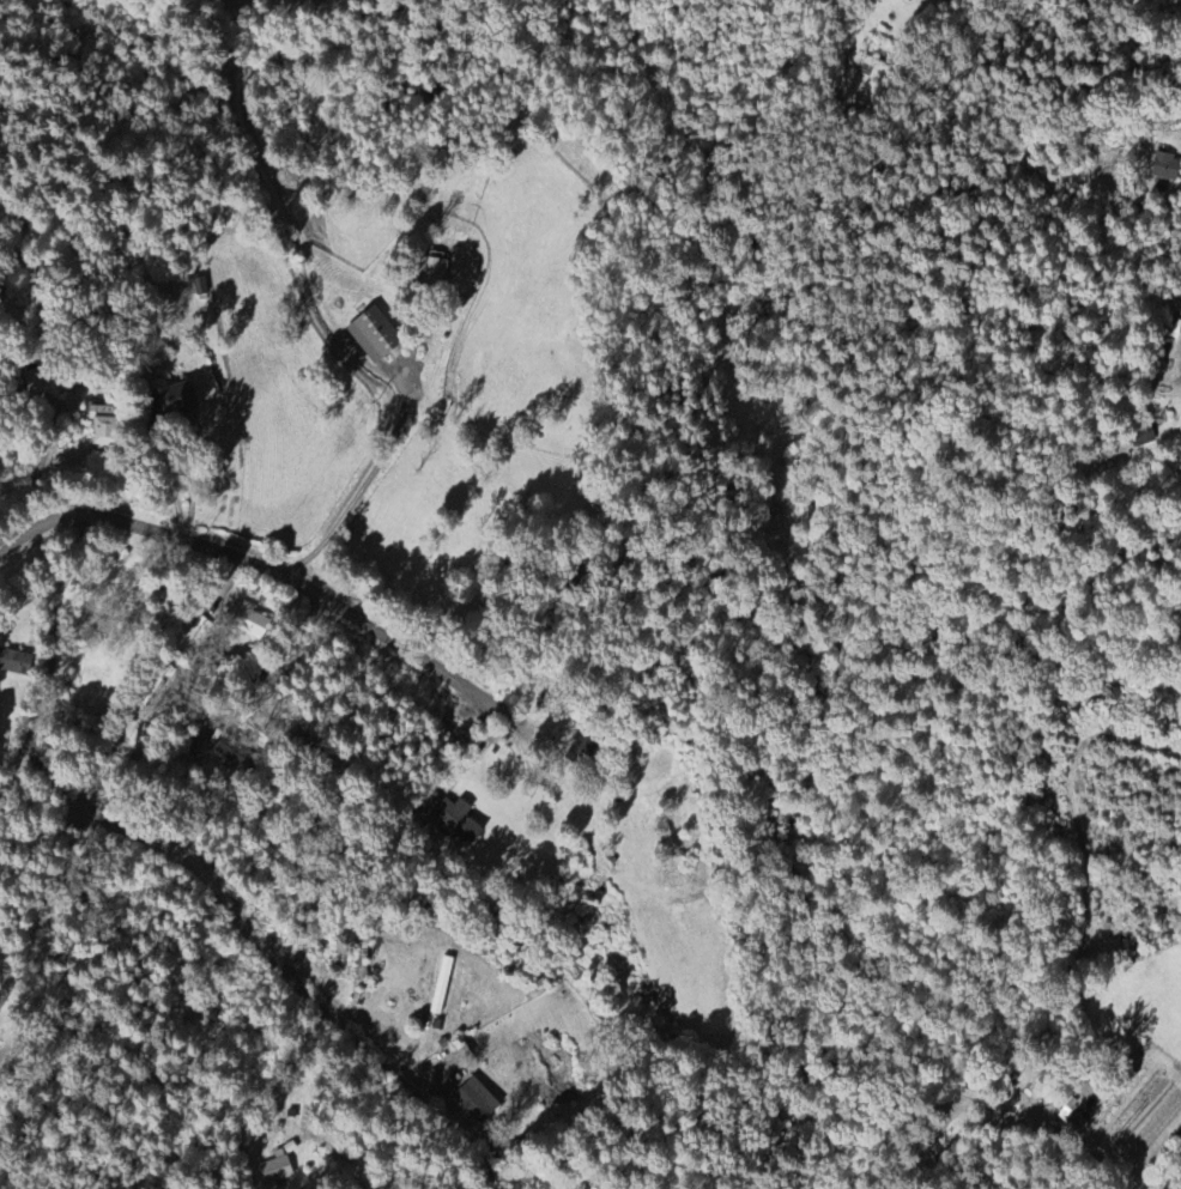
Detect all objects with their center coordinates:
road: (879, 0)
building: (1165, 168)
building: (436, 269)
building: (375, 335)
building: (35, 383)
building: (175, 400)
building: (103, 427)
building: (1180, 432)
building: (1143, 438)
road: (172, 490)
road: (362, 490)
road: (246, 571)
building: (252, 624)
building: (16, 663)
road: (269, 665)
road: (514, 735)
building: (581, 751)
building: (236, 754)
road: (16, 769)
building: (458, 820)
road: (183, 875)
building: (442, 987)
road: (656, 1067)
building: (477, 1102)
road: (1049, 1133)
road: (301, 1166)
building: (274, 1170)

